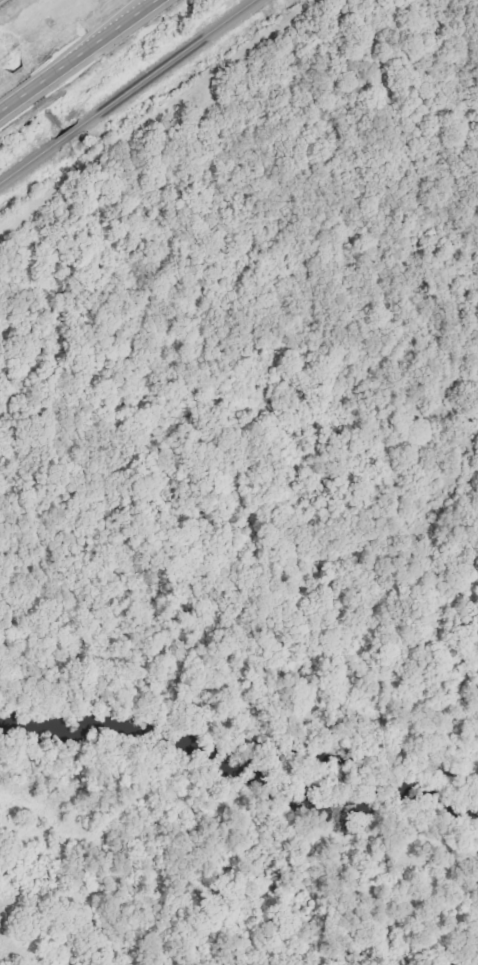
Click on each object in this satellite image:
road: (84, 60)
railway: (127, 91)
river: (238, 766)

